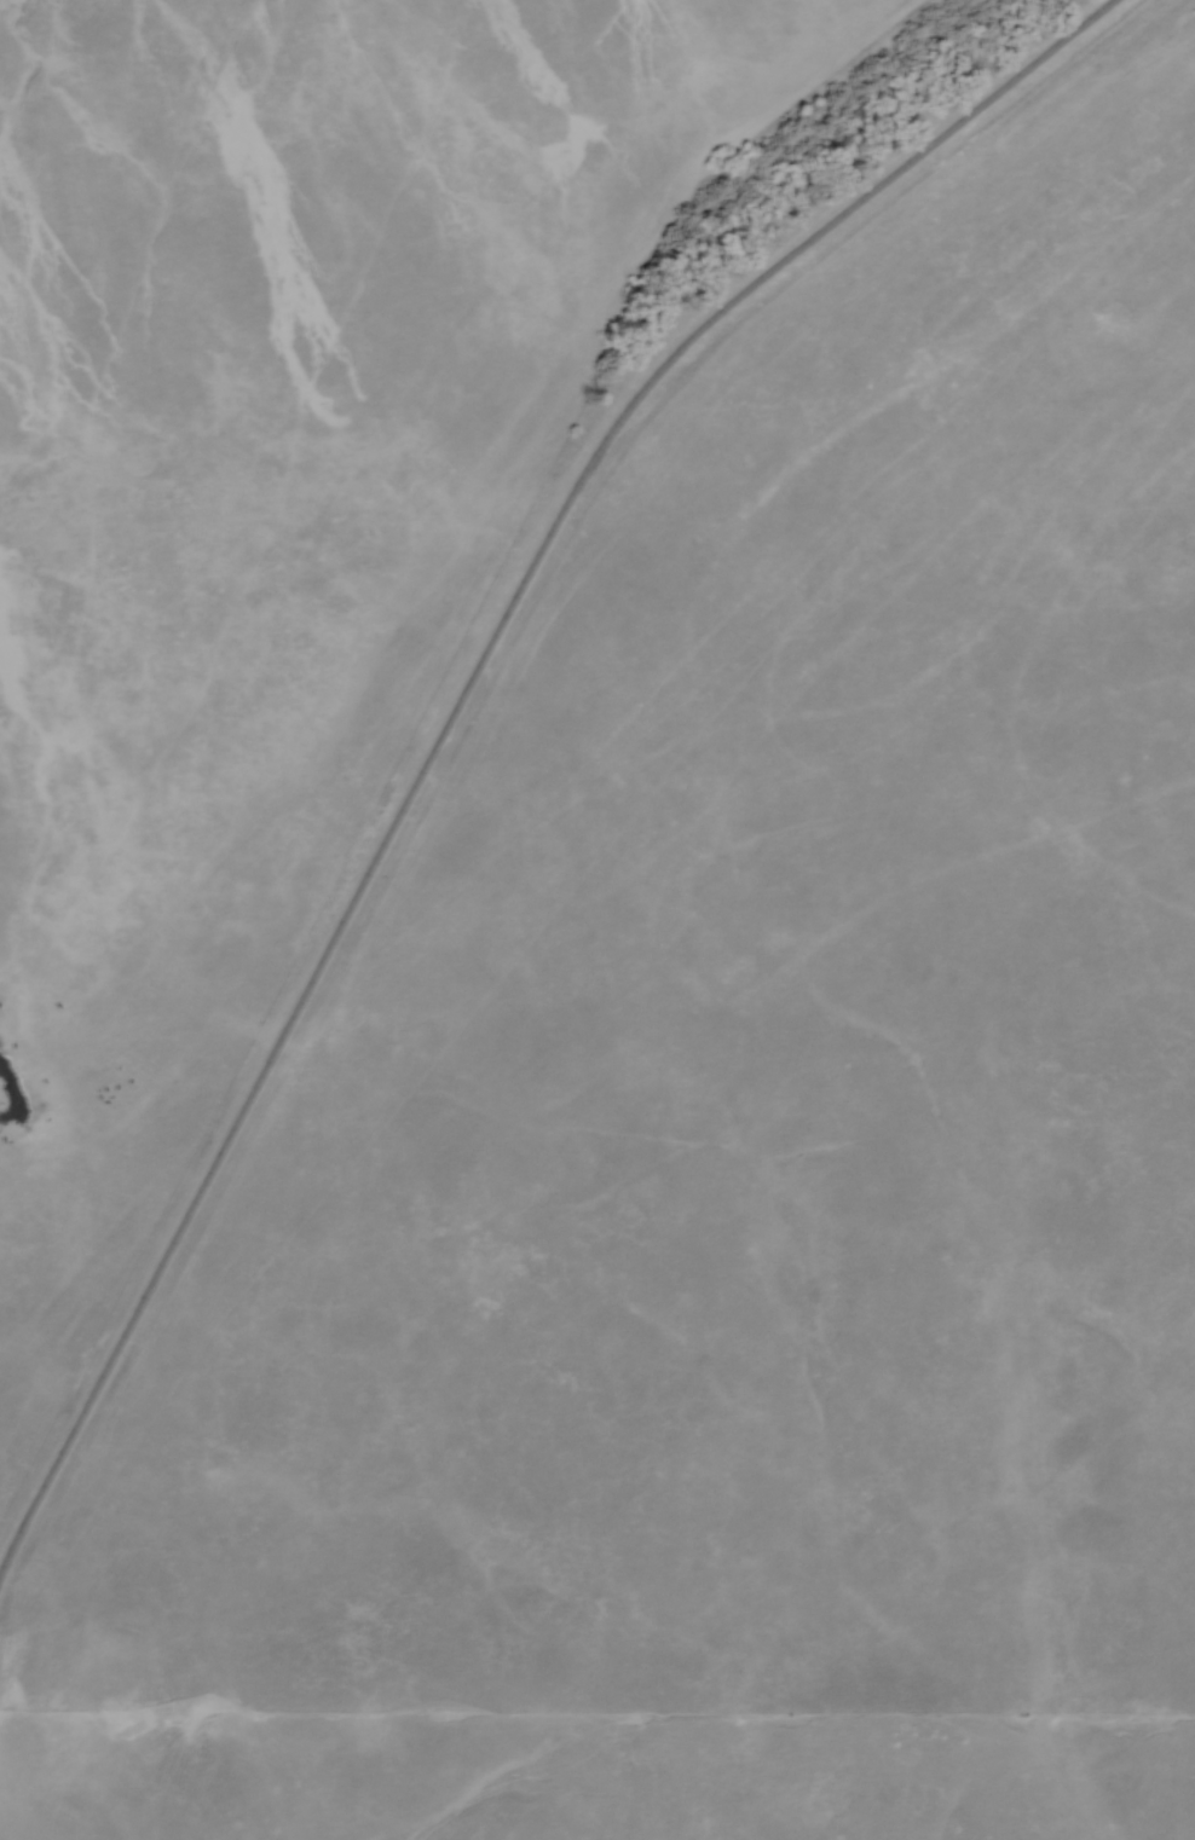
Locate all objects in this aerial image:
road: (456, 704)

